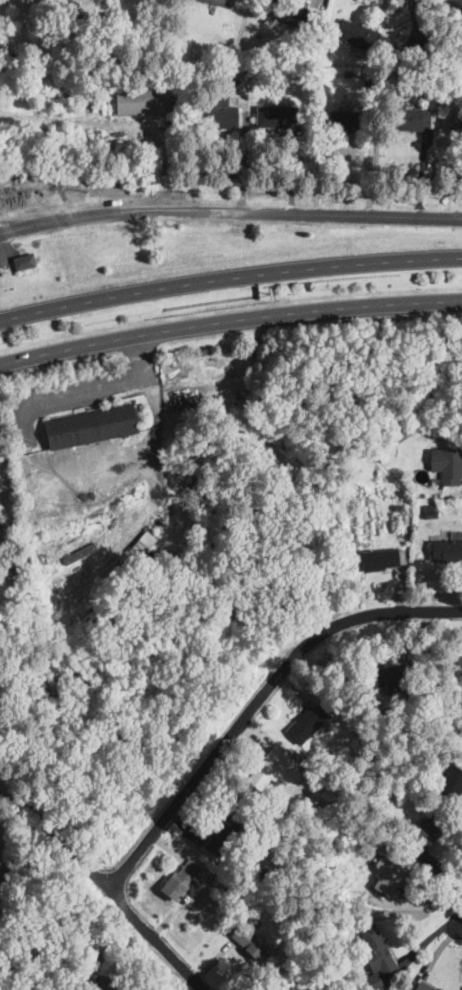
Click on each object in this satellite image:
building: (221, 2)
road: (449, 4)
building: (158, 12)
building: (287, 12)
building: (79, 20)
building: (140, 25)
building: (357, 35)
building: (418, 42)
building: (422, 60)
building: (15, 61)
building: (303, 63)
building: (191, 71)
building: (347, 74)
building: (278, 76)
building: (402, 76)
building: (428, 79)
building: (369, 80)
building: (461, 82)
building: (140, 101)
building: (218, 112)
building: (276, 116)
building: (408, 117)
building: (457, 119)
building: (343, 121)
building: (33, 174)
road: (230, 212)
building: (24, 262)
road: (228, 274)
road: (229, 322)
road: (105, 378)
building: (90, 426)
building: (398, 430)
building: (447, 465)
building: (431, 514)
building: (405, 519)
building: (1, 526)
building: (143, 543)
building: (445, 550)
building: (379, 558)
building: (322, 566)
building: (458, 664)
building: (384, 675)
road: (256, 702)
building: (306, 722)
building: (268, 767)
building: (449, 787)
building: (328, 793)
building: (226, 829)
building: (422, 838)
building: (265, 874)
building: (284, 875)
building: (387, 876)
building: (177, 883)
road: (103, 886)
building: (232, 897)
road: (427, 904)
road: (461, 919)
building: (332, 939)
building: (248, 940)
building: (376, 950)
building: (68, 974)
building: (376, 982)
building: (97, 983)
building: (423, 986)
building: (335, 989)

